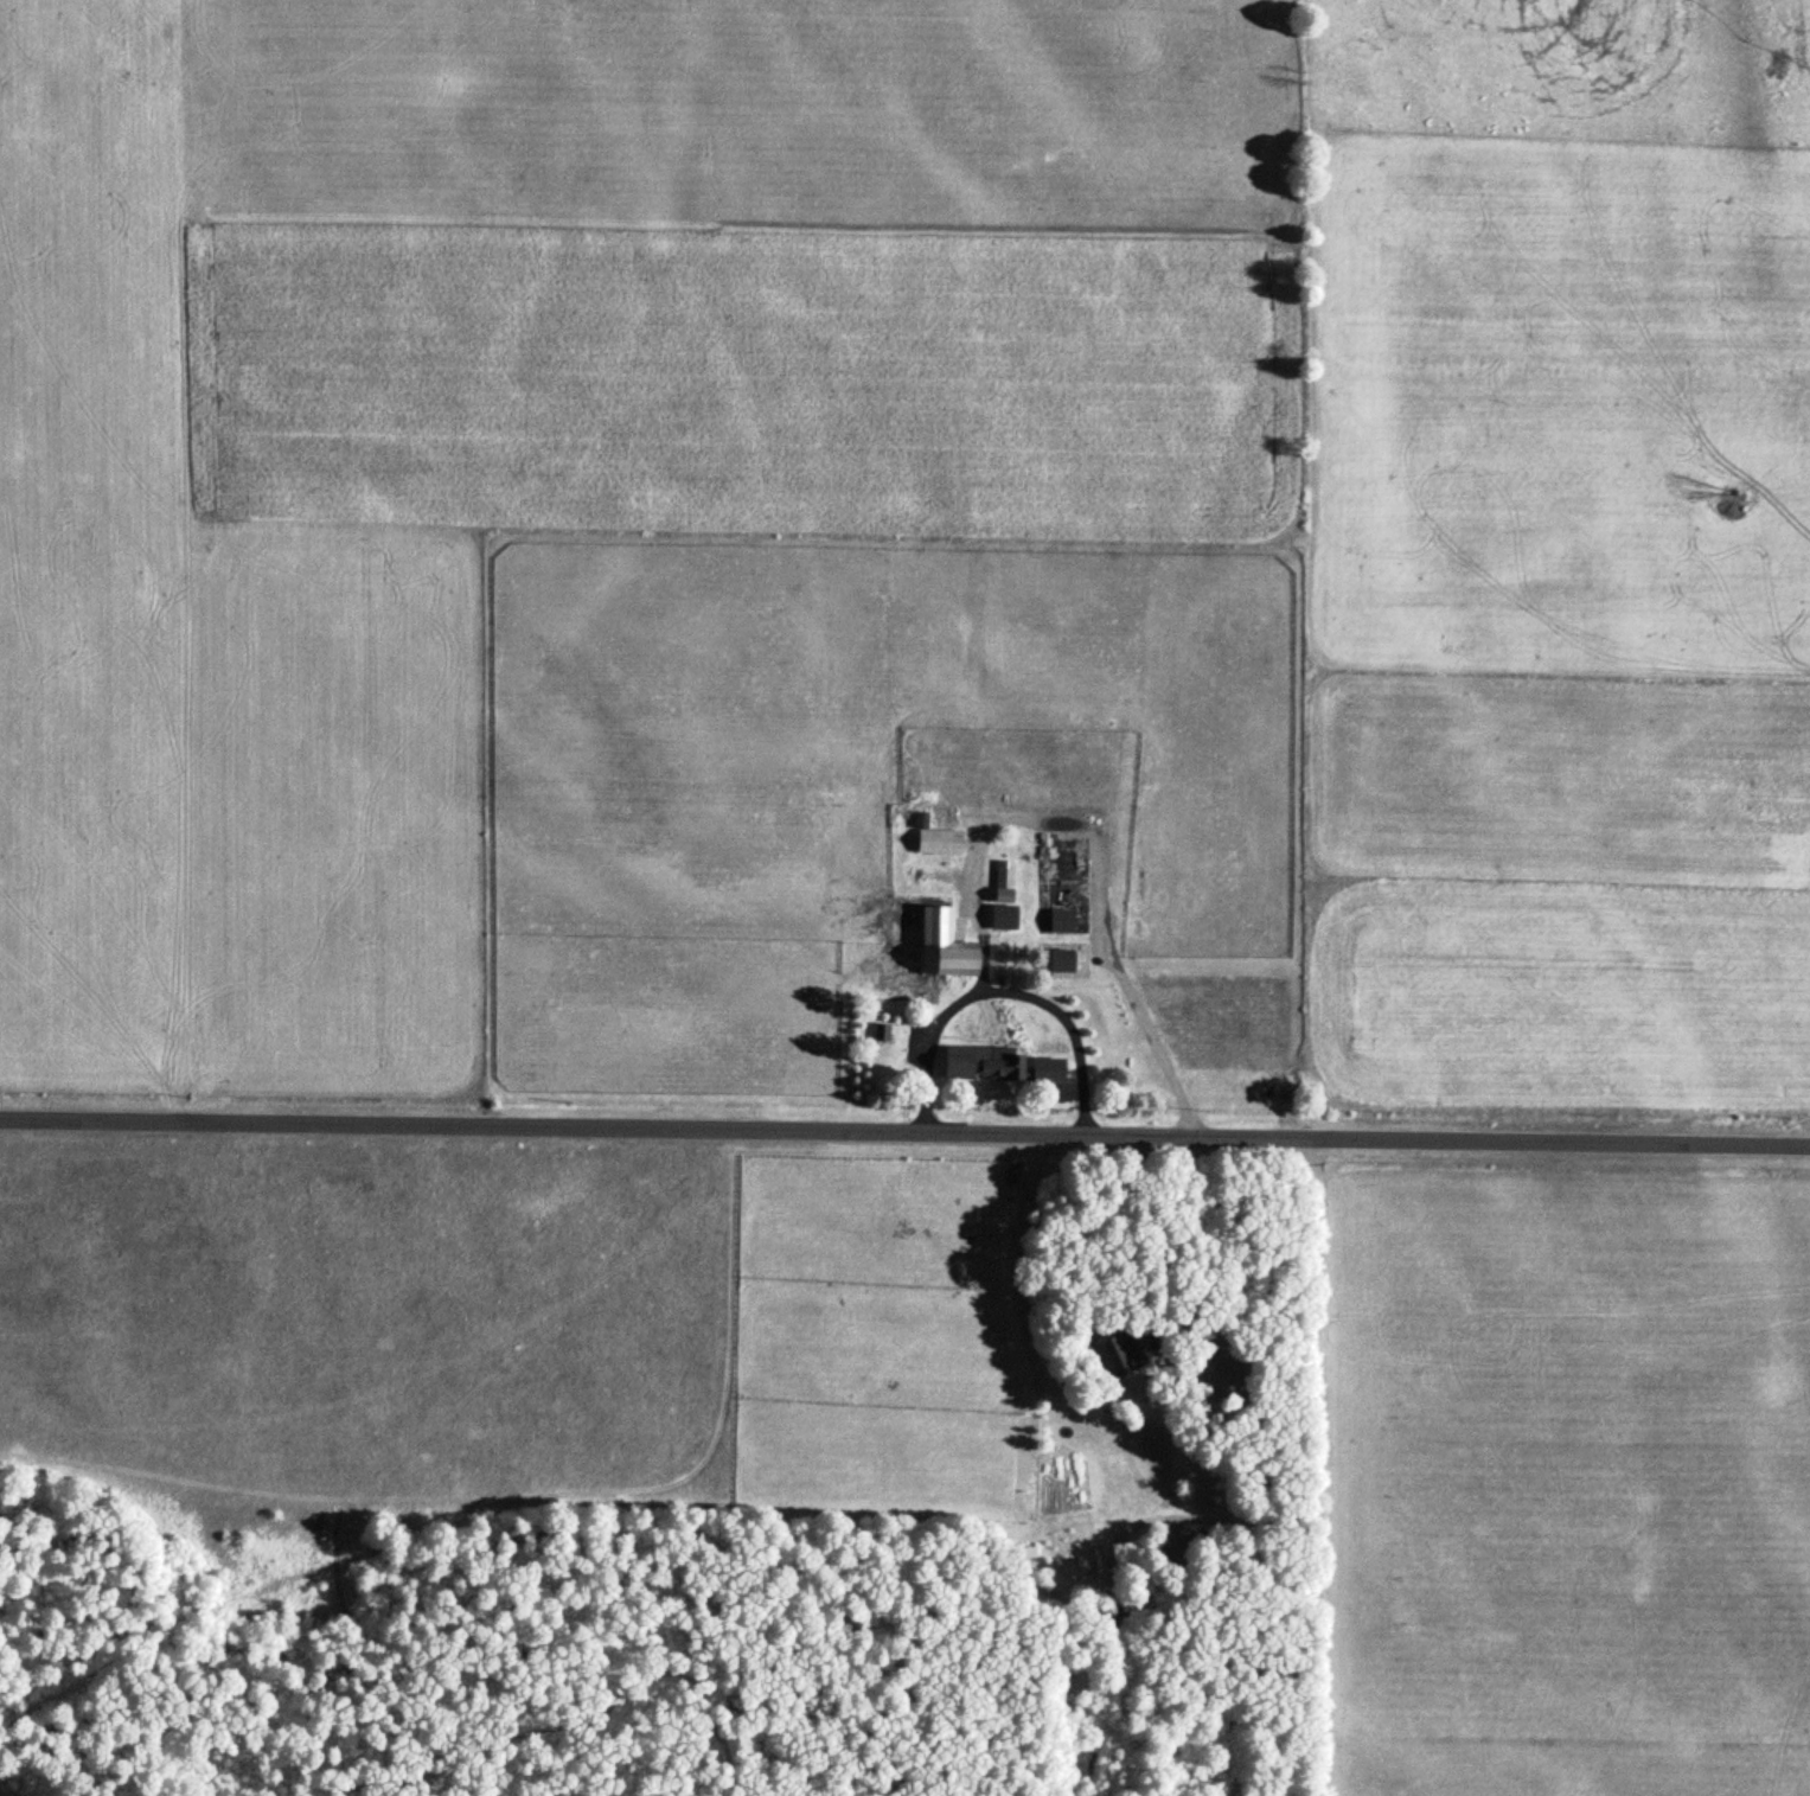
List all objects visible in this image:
building: (938, 838)
building: (1002, 877)
building: (1002, 913)
building: (946, 942)
building: (1061, 957)
road: (1149, 1047)
building: (997, 1060)
road: (904, 1129)
road: (897, 1145)
building: (1112, 1354)
building: (1226, 1367)
building: (1079, 1565)

